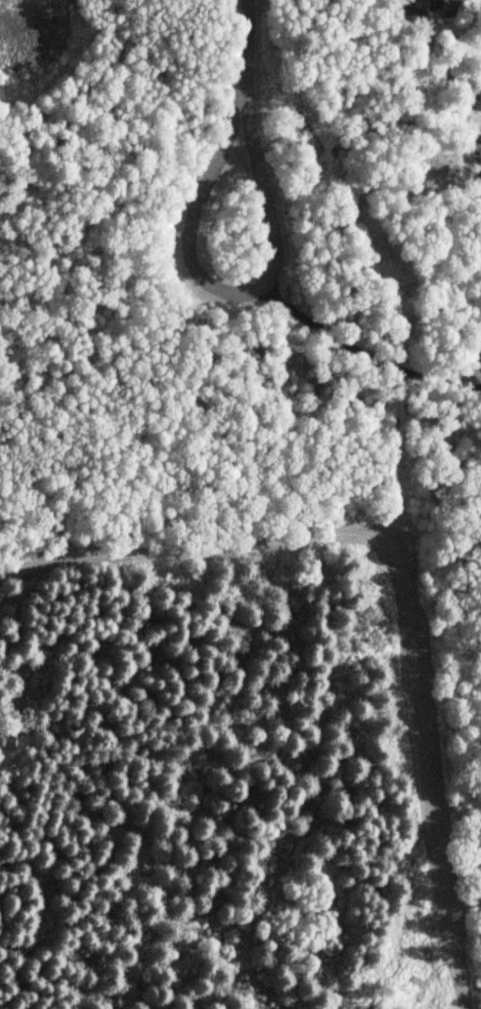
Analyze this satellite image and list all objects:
building: (439, 6)
road: (247, 53)
road: (232, 293)
building: (480, 356)
road: (400, 578)
road: (180, 846)

